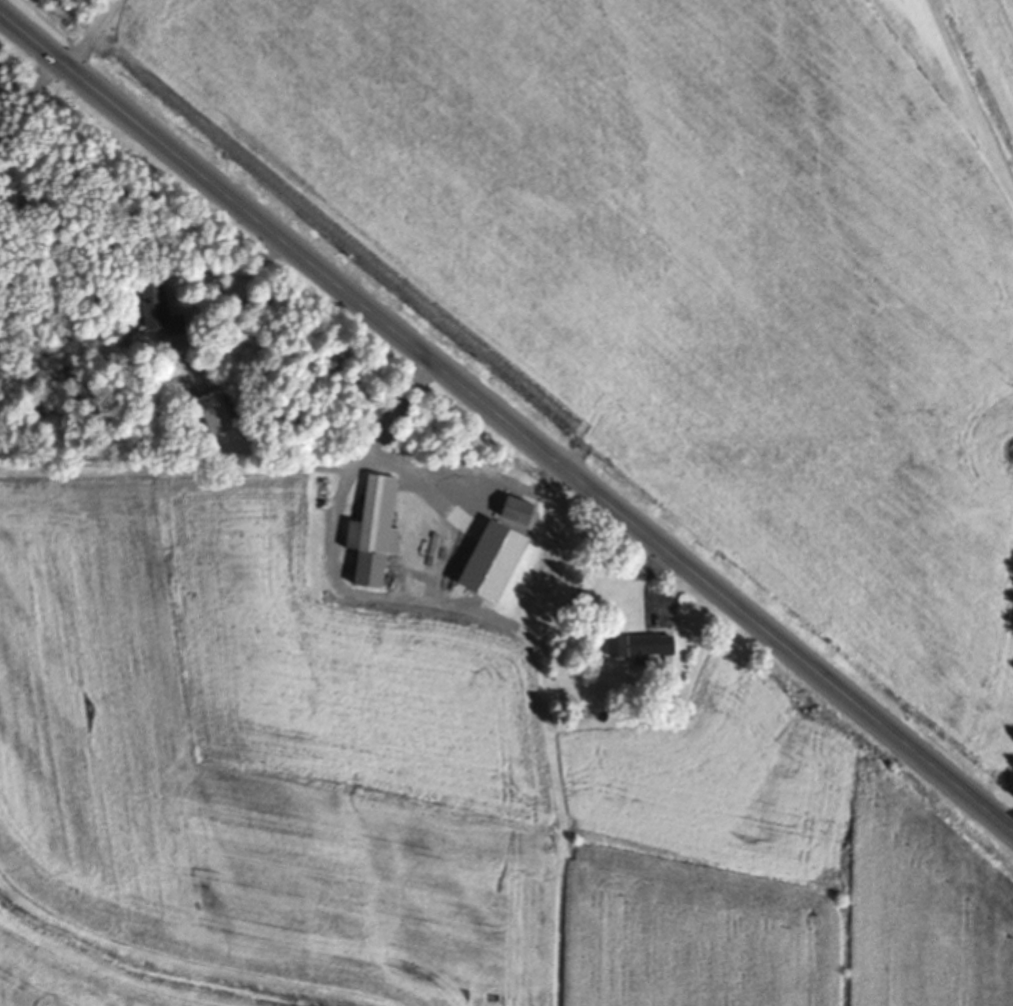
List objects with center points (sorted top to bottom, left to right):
road: (255, 301)
building: (158, 312)
building: (212, 417)
road: (507, 418)
road: (371, 458)
building: (444, 492)
building: (514, 513)
building: (373, 535)
building: (639, 650)

